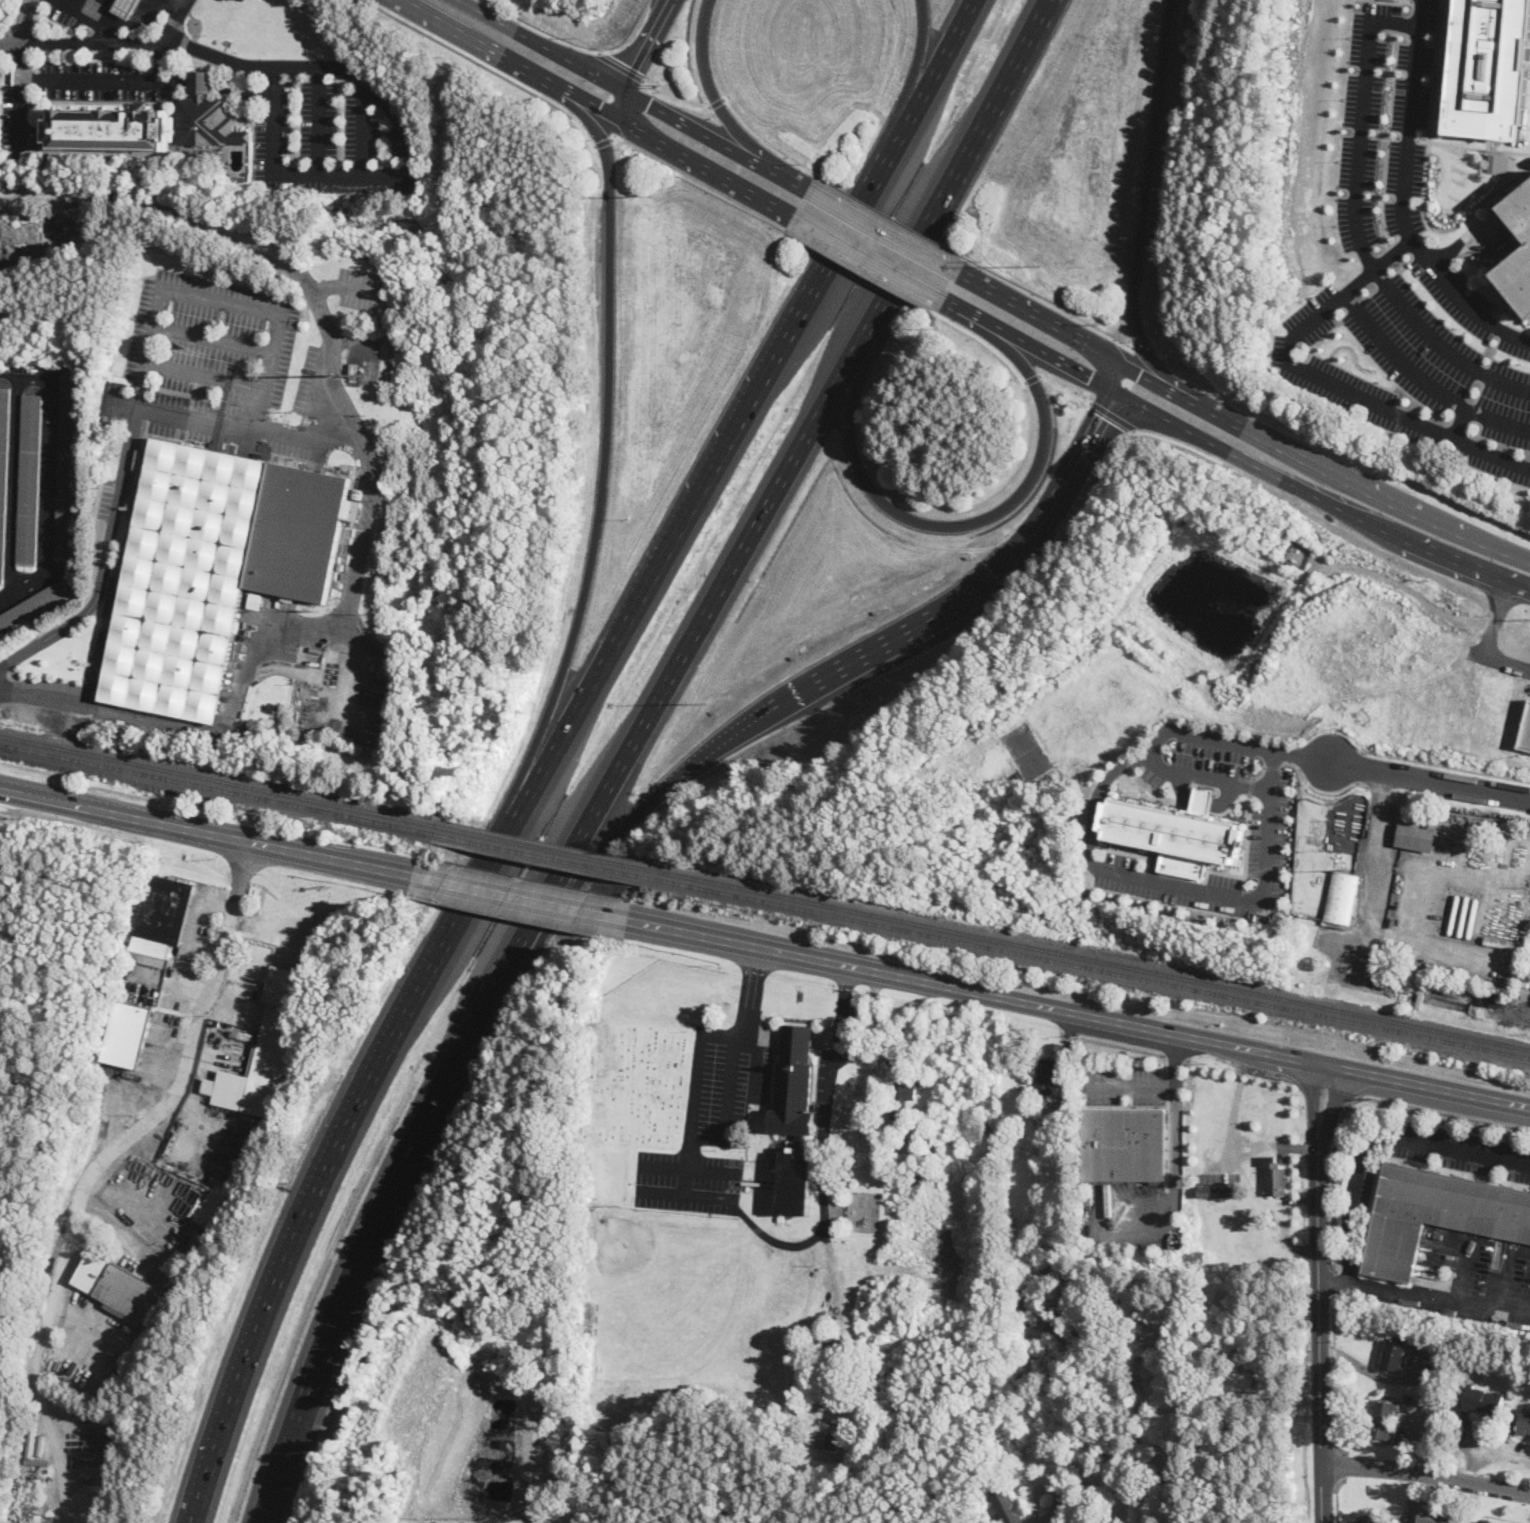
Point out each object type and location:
road: (102, 0)
road: (105, 0)
road: (181, 1)
building: (125, 7)
gas station: (125, 7)
road: (16, 17)
road: (28, 21)
road: (125, 23)
road: (106, 33)
road: (563, 41)
road: (104, 43)
road: (164, 59)
road: (639, 60)
road: (620, 65)
road: (320, 66)
road: (484, 66)
traffic signals: (636, 67)
building: (1489, 68)
road: (914, 69)
road: (935, 69)
building: (8, 77)
road: (606, 80)
road: (93, 82)
building: (199, 83)
road: (708, 85)
road: (22, 97)
road: (673, 99)
road: (716, 102)
traffic signals: (649, 103)
road: (598, 108)
traffic signals: (598, 108)
road: (1432, 113)
road: (637, 115)
road: (277, 121)
road: (320, 121)
road: (1408, 121)
road: (1361, 122)
building: (145, 127)
parking lot: (1384, 127)
road: (363, 128)
parking lot: (334, 132)
road: (762, 140)
road: (604, 141)
road: (1473, 148)
road: (781, 172)
road: (344, 176)
road: (701, 182)
road: (1146, 197)
building: (1520, 211)
road: (888, 215)
road: (883, 229)
road: (246, 240)
road: (868, 258)
road: (860, 270)
building: (1517, 278)
road: (347, 285)
parking lot: (359, 288)
road: (1047, 303)
road: (262, 309)
road: (1029, 310)
road: (970, 314)
road: (1300, 328)
road: (214, 338)
road: (1142, 342)
road: (985, 343)
road: (1441, 344)
road: (1055, 357)
parking lot: (1417, 359)
road: (1135, 367)
road: (1111, 368)
parking lot: (222, 369)
traffic signals: (1141, 370)
building: (354, 371)
traffic signals: (1091, 377)
road: (1033, 378)
road: (1424, 380)
road: (1192, 381)
road: (1062, 389)
road: (1112, 414)
traffic signals: (1102, 416)
road: (228, 421)
road: (1460, 422)
road: (1090, 436)
road: (605, 440)
road: (1177, 442)
road: (1223, 448)
road: (795, 457)
building: (142, 460)
road: (1316, 464)
building: (69, 466)
building: (4, 470)
road: (48, 476)
road: (705, 478)
building: (30, 480)
road: (16, 485)
road: (1043, 516)
road: (1370, 522)
road: (962, 524)
road: (1498, 547)
road: (105, 556)
road: (1457, 558)
building: (213, 569)
road: (1519, 582)
building: (253, 601)
road: (1500, 602)
building: (33, 608)
road: (1441, 609)
road: (900, 634)
road: (261, 644)
building: (277, 703)
road: (1171, 729)
building: (1526, 732)
road: (705, 753)
road: (1445, 766)
railway: (220, 780)
road: (1430, 780)
railway: (218, 789)
road: (1094, 798)
building: (1400, 812)
road: (124, 813)
building: (1177, 833)
building: (1416, 838)
railway: (547, 847)
railway: (542, 855)
road: (336, 857)
road: (592, 861)
road: (526, 897)
road: (1252, 898)
building: (1342, 901)
road: (1370, 917)
building: (161, 919)
building: (1503, 943)
railway: (1091, 958)
railway: (1089, 967)
building: (1432, 967)
road: (749, 992)
road: (1524, 1000)
road: (1525, 1012)
road: (1078, 1018)
park: (50, 1034)
building: (127, 1035)
building: (264, 1051)
road: (752, 1063)
building: (1046, 1074)
parking lot: (1124, 1086)
road: (1131, 1088)
road: (693, 1091)
building: (902, 1098)
building: (1039, 1099)
road: (1355, 1102)
road: (828, 1103)
road: (728, 1104)
building: (798, 1114)
road: (1173, 1119)
parking lot: (708, 1124)
road: (1239, 1132)
building: (904, 1133)
building: (896, 1139)
road: (1378, 1142)
building: (1124, 1143)
parking lot: (1460, 1149)
building: (1055, 1158)
road: (329, 1159)
road: (689, 1165)
road: (99, 1167)
building: (925, 1168)
building: (1257, 1169)
building: (845, 1174)
building: (1275, 1177)
parking lot: (1358, 1186)
building: (1217, 1191)
road: (143, 1192)
road: (686, 1193)
building: (219, 1198)
road: (379, 1209)
road: (121, 1212)
parking lot: (1133, 1213)
building: (1436, 1216)
building: (781, 1218)
road: (1098, 1226)
road: (775, 1239)
road: (1464, 1255)
road: (1507, 1268)
road: (832, 1270)
parking lot: (1473, 1278)
road: (1334, 1285)
park: (661, 1287)
road: (1335, 1287)
building: (120, 1289)
road: (1319, 1297)
road: (1440, 1298)
building: (1156, 1308)
building: (1016, 1317)
building: (1055, 1324)
building: (1236, 1325)
building: (1221, 1328)
building: (1395, 1352)
building: (836, 1353)
building: (1023, 1363)
road: (1374, 1372)
building: (814, 1373)
building: (1265, 1377)
road: (1334, 1377)
building: (1247, 1379)
building: (1462, 1383)
building: (1483, 1401)
building: (1460, 1418)
building: (1383, 1419)
building: (1524, 1423)
building: (828, 1441)
road: (1488, 1454)
road: (1340, 1466)
road: (1426, 1476)
road: (1337, 1498)
building: (1008, 1507)
road: (1035, 1512)
building: (1435, 1517)
building: (1370, 1521)
parking lot: (428, 1522)
parking lot: (481, 1522)
building: (1487, 1522)

